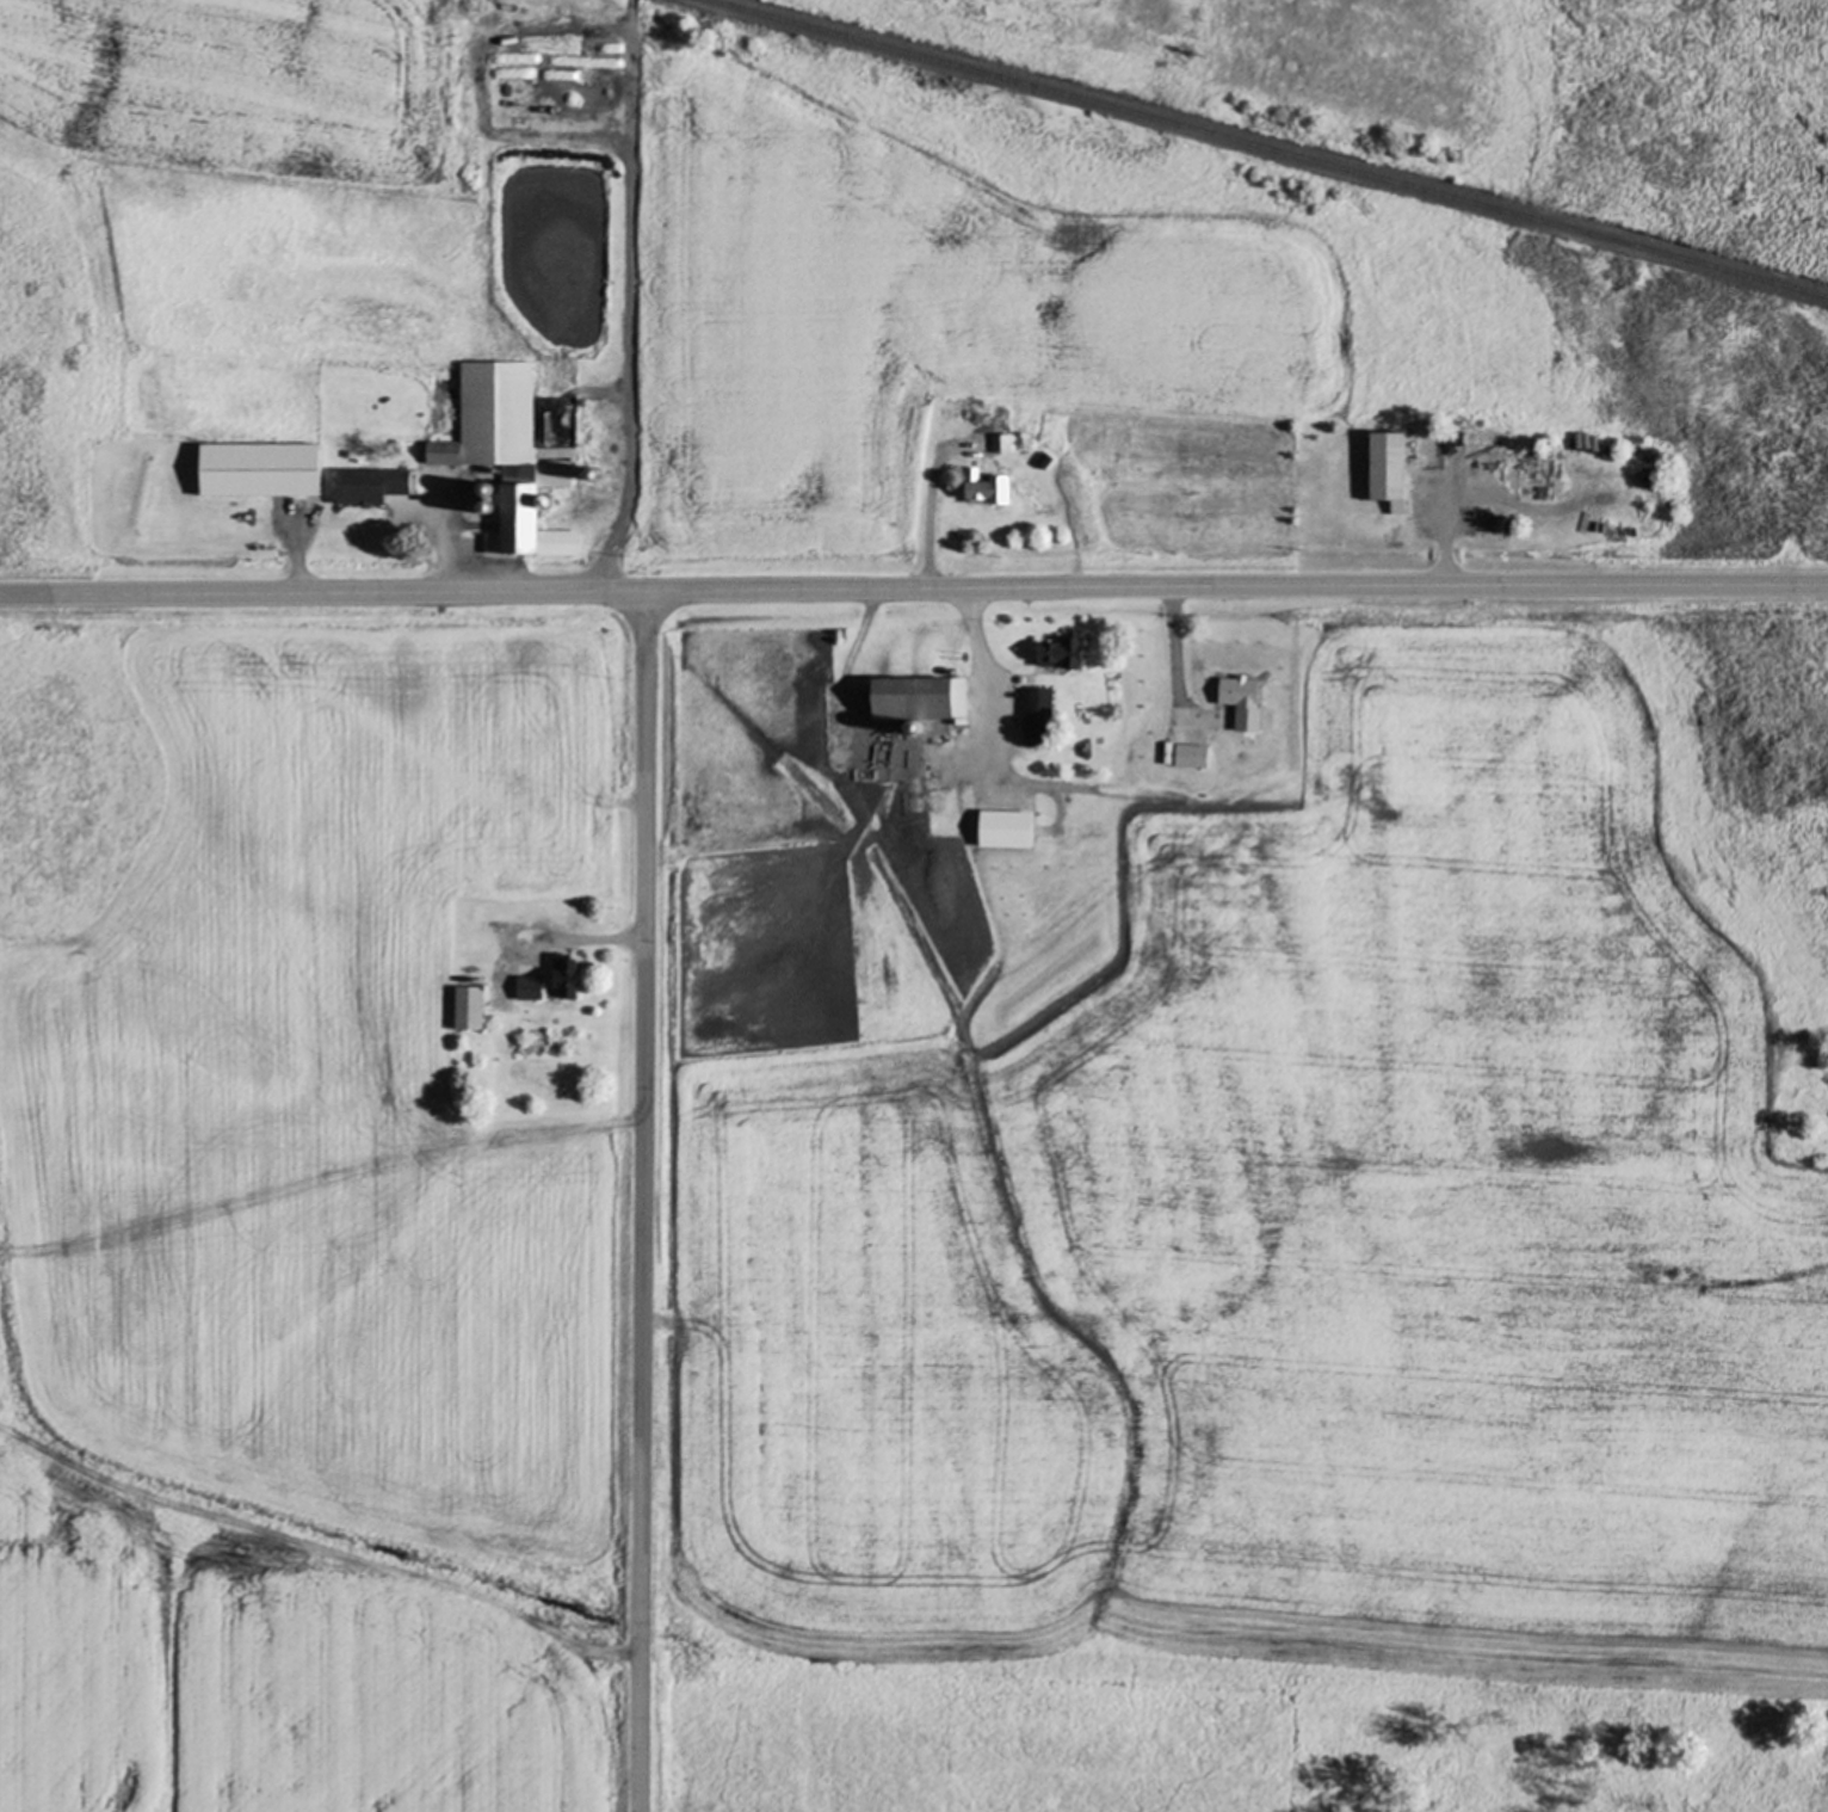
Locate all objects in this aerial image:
railway: (1266, 148)
road: (630, 314)
building: (1002, 445)
building: (510, 457)
building: (260, 472)
building: (1389, 472)
building: (987, 491)
building: (381, 497)
road: (928, 522)
road: (1446, 547)
road: (441, 551)
road: (297, 559)
road: (914, 588)
road: (1174, 640)
building: (1062, 655)
road: (982, 664)
building: (920, 701)
building: (1242, 703)
building: (1038, 717)
building: (1192, 758)
building: (1006, 831)
road: (581, 939)
building: (567, 978)
building: (529, 990)
building: (468, 1011)
road: (642, 1202)

